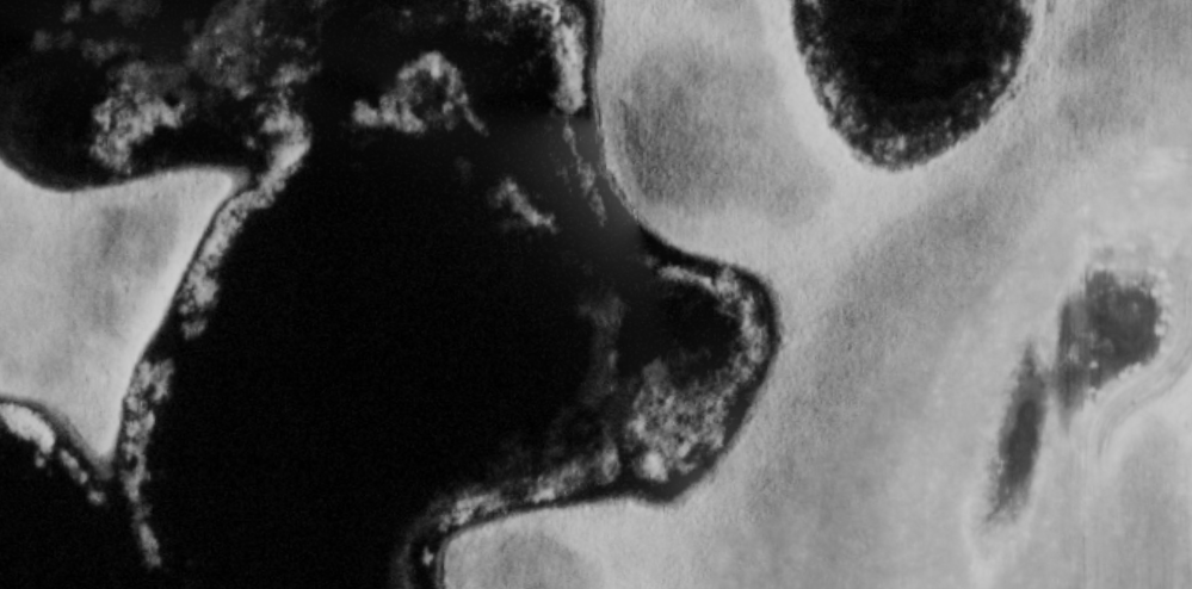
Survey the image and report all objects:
road: (1076, 294)

